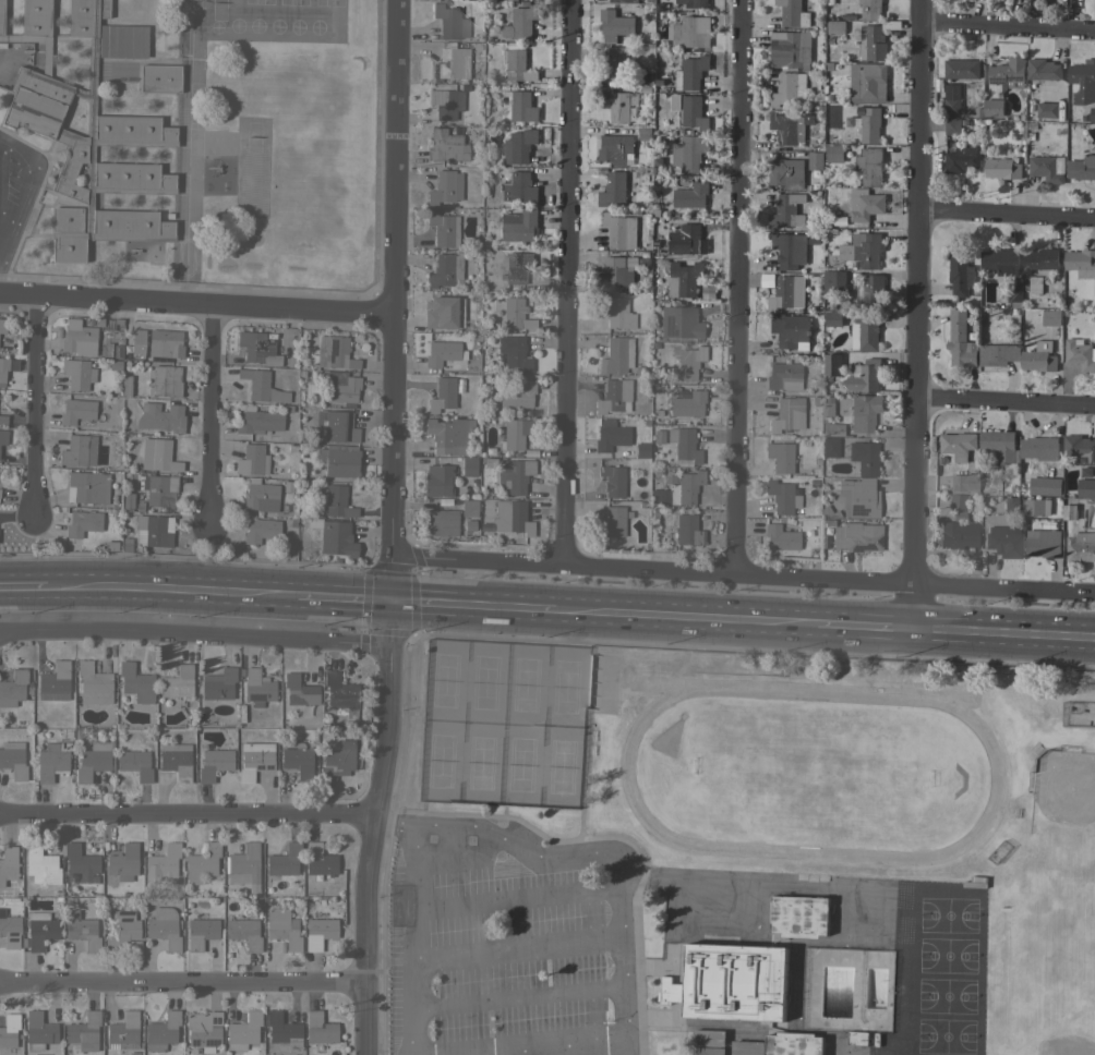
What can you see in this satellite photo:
building: (624, 1)
building: (694, 3)
building: (104, 9)
building: (870, 9)
building: (794, 12)
building: (1, 16)
building: (450, 22)
building: (521, 22)
road: (1006, 24)
building: (615, 25)
building: (835, 27)
building: (691, 32)
building: (122, 40)
building: (875, 40)
building: (787, 50)
building: (645, 51)
building: (449, 62)
building: (615, 65)
building: (518, 66)
building: (962, 69)
building: (1043, 70)
building: (690, 73)
building: (1008, 73)
building: (159, 77)
building: (866, 80)
building: (1083, 82)
building: (789, 89)
building: (952, 101)
building: (446, 102)
building: (616, 105)
building: (522, 107)
building: (994, 108)
building: (1047, 110)
building: (694, 113)
building: (1092, 114)
building: (870, 125)
building: (952, 126)
building: (785, 129)
building: (643, 133)
building: (88, 138)
building: (446, 145)
building: (517, 146)
building: (615, 149)
road: (189, 153)
building: (689, 153)
building: (834, 154)
building: (815, 160)
building: (961, 161)
building: (869, 166)
building: (1003, 168)
building: (1048, 168)
building: (1082, 168)
building: (786, 173)
building: (446, 187)
building: (519, 187)
building: (613, 189)
road: (24, 193)
building: (690, 196)
building: (864, 204)
building: (786, 213)
road: (1004, 216)
building: (68, 218)
building: (520, 226)
building: (444, 228)
building: (619, 230)
building: (687, 240)
building: (790, 250)
building: (862, 250)
building: (1042, 260)
building: (1081, 263)
building: (517, 267)
building: (445, 269)
building: (1004, 269)
building: (960, 272)
building: (615, 274)
building: (684, 279)
building: (768, 280)
road: (565, 281)
building: (833, 281)
building: (1034, 284)
road: (736, 287)
building: (787, 293)
building: (869, 293)
road: (194, 305)
building: (442, 312)
building: (618, 312)
building: (516, 314)
road: (912, 316)
building: (1051, 317)
building: (833, 319)
building: (679, 322)
building: (2, 325)
building: (790, 330)
building: (865, 334)
building: (79, 338)
building: (961, 341)
building: (137, 342)
building: (166, 342)
building: (258, 348)
building: (335, 352)
building: (515, 352)
building: (998, 354)
building: (1080, 354)
building: (445, 355)
building: (617, 355)
building: (1039, 357)
building: (689, 362)
building: (112, 365)
building: (832, 365)
building: (3, 369)
building: (77, 373)
building: (784, 375)
building: (865, 376)
building: (166, 380)
building: (127, 385)
building: (262, 386)
building: (340, 387)
building: (443, 395)
building: (518, 395)
building: (614, 396)
road: (1002, 402)
building: (688, 403)
building: (839, 405)
road: (34, 408)
building: (76, 410)
building: (864, 412)
building: (787, 414)
building: (161, 416)
building: (2, 419)
road: (210, 420)
building: (257, 420)
building: (337, 426)
building: (832, 429)
building: (447, 433)
building: (515, 433)
building: (611, 435)
building: (3, 436)
building: (658, 437)
building: (684, 442)
building: (959, 446)
building: (999, 446)
building: (829, 447)
building: (1039, 448)
building: (1080, 449)
building: (79, 450)
building: (158, 454)
building: (781, 456)
building: (864, 458)
building: (252, 460)
building: (339, 460)
building: (469, 465)
building: (514, 474)
building: (438, 480)
building: (613, 480)
building: (963, 483)
building: (1045, 486)
building: (87, 487)
building: (159, 488)
building: (1085, 488)
building: (679, 489)
building: (261, 495)
building: (782, 496)
building: (858, 497)
building: (128, 499)
building: (338, 501)
building: (956, 501)
building: (1008, 505)
building: (469, 507)
building: (1037, 507)
building: (829, 512)
building: (1070, 512)
building: (513, 517)
building: (613, 521)
building: (83, 522)
building: (441, 522)
road: (393, 527)
building: (154, 530)
building: (261, 530)
building: (688, 530)
building: (460, 532)
building: (959, 534)
building: (855, 535)
building: (334, 536)
building: (781, 537)
building: (1003, 539)
building: (1043, 543)
building: (124, 545)
building: (108, 546)
building: (1081, 547)
road: (744, 573)
road: (23, 589)
road: (171, 591)
road: (345, 601)
road: (471, 608)
road: (683, 620)
road: (861, 630)
road: (194, 635)
road: (1001, 639)
building: (178, 681)
building: (55, 682)
building: (136, 682)
building: (94, 683)
building: (217, 686)
building: (13, 687)
building: (258, 687)
building: (299, 690)
building: (340, 694)
building: (34, 695)
building: (212, 718)
building: (13, 759)
building: (94, 760)
building: (176, 760)
building: (255, 760)
building: (298, 761)
building: (337, 761)
building: (51, 762)
building: (135, 763)
building: (214, 763)
road: (184, 816)
building: (105, 845)
building: (999, 852)
building: (285, 860)
building: (318, 860)
building: (82, 862)
building: (123, 862)
building: (202, 862)
building: (8, 863)
building: (41, 864)
building: (163, 864)
building: (244, 865)
road: (621, 875)
building: (58, 898)
building: (266, 900)
building: (799, 917)
building: (164, 927)
building: (282, 927)
building: (40, 929)
building: (9, 930)
building: (82, 930)
building: (201, 931)
building: (244, 931)
building: (122, 932)
building: (318, 932)
road: (412, 938)
building: (24, 942)
road: (181, 983)
building: (731, 983)
building: (9, 1028)
building: (320, 1028)
building: (39, 1030)
building: (203, 1030)
building: (243, 1030)
building: (84, 1031)
building: (123, 1031)
building: (163, 1031)
building: (282, 1031)
building: (709, 1038)
building: (857, 1039)
building: (793, 1044)
building: (747, 1047)
building: (196, 1051)
building: (708, 1051)

